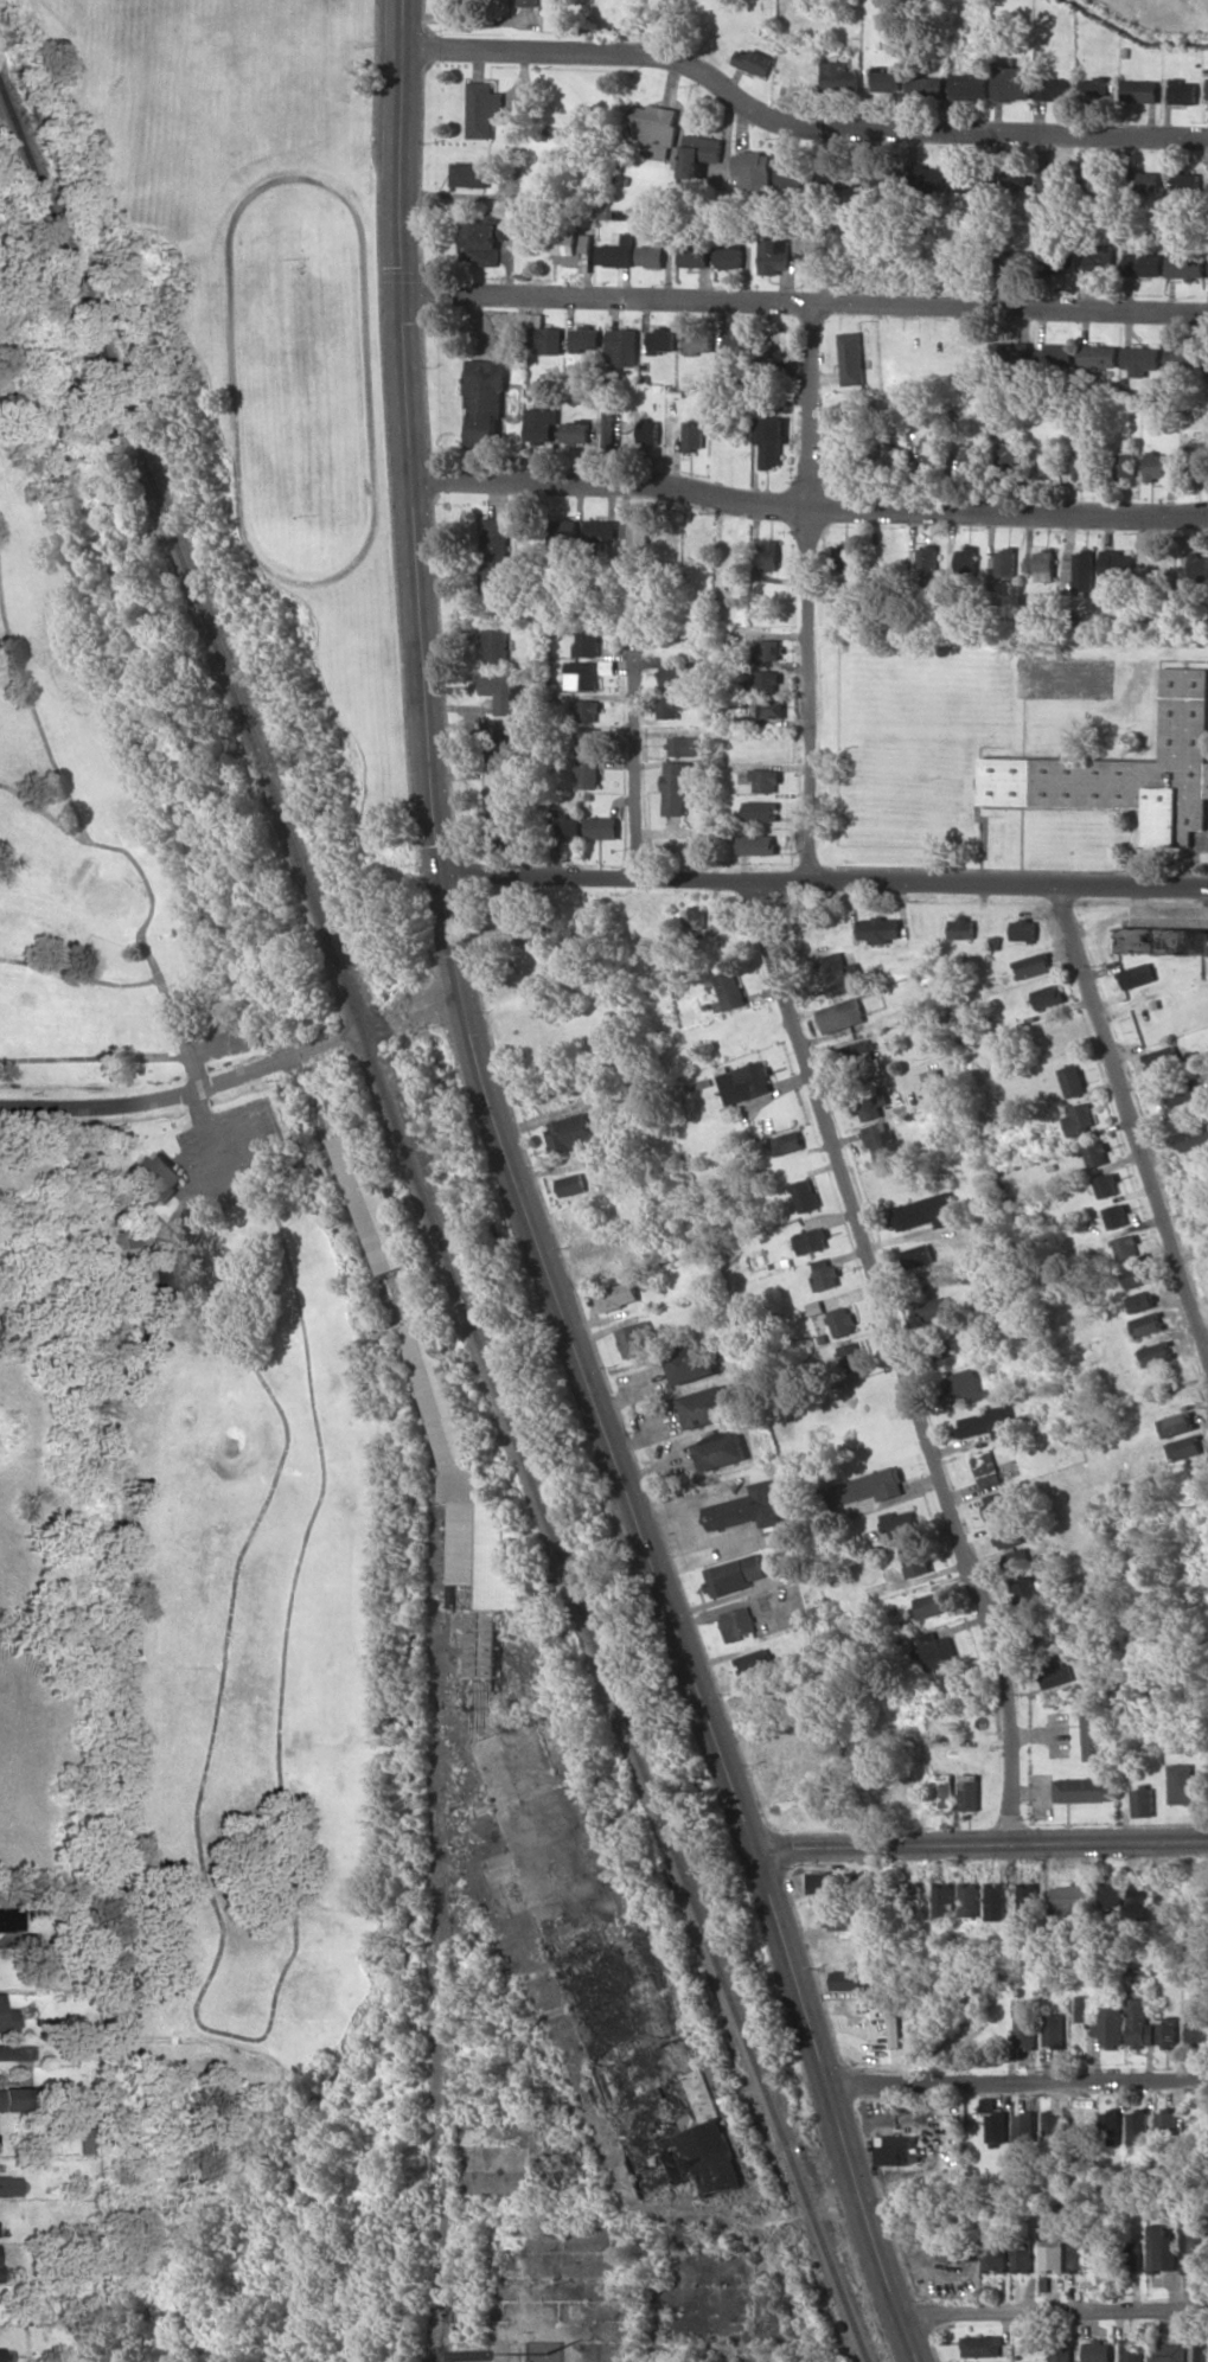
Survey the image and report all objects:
building: (529, 2)
building: (754, 60)
building: (839, 76)
building: (882, 79)
building: (1012, 82)
building: (925, 85)
building: (969, 87)
building: (1054, 88)
building: (1095, 89)
building: (1140, 90)
building: (1183, 91)
building: (1207, 97)
building: (482, 108)
road: (795, 123)
building: (654, 127)
building: (702, 153)
building: (756, 168)
building: (469, 174)
building: (795, 177)
building: (1016, 177)
building: (1092, 177)
building: (922, 179)
building: (964, 179)
building: (1182, 179)
building: (1054, 180)
building: (1145, 181)
building: (482, 236)
building: (576, 250)
building: (618, 252)
building: (696, 252)
building: (653, 255)
building: (776, 255)
building: (733, 256)
building: (811, 260)
building: (1018, 260)
building: (1059, 261)
building: (1095, 261)
building: (1143, 264)
building: (1185, 265)
road: (804, 305)
building: (545, 337)
building: (587, 339)
building: (773, 339)
building: (663, 340)
building: (701, 341)
building: (740, 344)
building: (625, 347)
building: (1018, 353)
building: (1056, 356)
building: (1098, 356)
building: (852, 358)
building: (1140, 359)
building: (1183, 360)
building: (487, 398)
building: (543, 425)
building: (612, 428)
building: (579, 430)
building: (651, 431)
building: (696, 436)
road: (409, 437)
building: (773, 441)
building: (932, 452)
building: (890, 454)
building: (1008, 454)
building: (1196, 456)
building: (970, 459)
building: (1085, 462)
building: (1127, 463)
building: (1048, 465)
building: (1156, 465)
road: (808, 512)
building: (565, 530)
building: (603, 532)
building: (637, 532)
railway: (177, 550)
building: (769, 555)
building: (498, 556)
building: (845, 557)
building: (1008, 562)
building: (1046, 563)
building: (967, 565)
building: (928, 567)
building: (1200, 567)
building: (1118, 568)
building: (1085, 570)
road: (808, 591)
building: (588, 641)
building: (498, 647)
building: (772, 648)
building: (582, 674)
building: (678, 674)
building: (767, 680)
building: (505, 691)
building: (669, 708)
building: (768, 708)
building: (587, 710)
building: (503, 741)
building: (587, 741)
building: (684, 745)
road: (638, 756)
building: (1126, 770)
building: (588, 773)
building: (766, 780)
building: (497, 786)
building: (676, 787)
building: (761, 811)
building: (569, 825)
building: (602, 827)
building: (506, 830)
building: (758, 844)
road: (822, 879)
building: (695, 917)
building: (963, 928)
building: (880, 929)
building: (1024, 929)
building: (1164, 940)
building: (1035, 965)
building: (841, 973)
building: (1138, 975)
building: (730, 991)
building: (1048, 996)
building: (845, 1018)
building: (858, 1051)
building: (1164, 1057)
building: (1074, 1080)
building: (746, 1082)
building: (1183, 1088)
road: (151, 1095)
building: (864, 1106)
building: (1080, 1118)
road: (1136, 1118)
building: (569, 1133)
building: (883, 1140)
building: (790, 1141)
building: (1098, 1153)
building: (154, 1178)
building: (570, 1184)
building: (1107, 1185)
building: (806, 1195)
building: (373, 1203)
building: (926, 1211)
building: (1117, 1215)
building: (812, 1240)
building: (1126, 1247)
building: (919, 1255)
building: (825, 1273)
building: (171, 1274)
building: (1135, 1276)
building: (618, 1295)
building: (1143, 1300)
building: (938, 1307)
building: (843, 1320)
building: (1148, 1324)
building: (637, 1338)
building: (1156, 1353)
building: (854, 1356)
road: (901, 1358)
building: (691, 1362)
building: (966, 1384)
building: (442, 1391)
building: (705, 1407)
building: (1033, 1420)
building: (989, 1422)
building: (1178, 1423)
building: (1188, 1446)
building: (720, 1449)
building: (986, 1468)
building: (871, 1486)
building: (746, 1508)
building: (997, 1508)
building: (901, 1523)
building: (1008, 1534)
building: (1016, 1558)
building: (915, 1560)
building: (731, 1575)
building: (1025, 1592)
building: (931, 1605)
road: (671, 1619)
building: (736, 1622)
building: (1037, 1630)
building: (935, 1650)
building: (753, 1660)
building: (1054, 1673)
railway: (611, 1684)
building: (951, 1684)
building: (1092, 1729)
building: (1185, 1785)
building: (1085, 1790)
building: (967, 1792)
building: (945, 1793)
road: (72, 1795)
building: (1144, 1801)
road: (978, 1845)
building: (824, 1882)
building: (905, 1891)
building: (1028, 1894)
building: (1113, 1894)
building: (1072, 1896)
building: (970, 1899)
building: (944, 1900)
building: (996, 1900)
building: (836, 1918)
building: (9, 1919)
building: (845, 1979)
building: (6, 2018)
building: (1102, 2021)
building: (1024, 2024)
building: (1139, 2024)
building: (1197, 2027)
building: (1054, 2030)
building: (893, 2031)
building: (1168, 2031)
road: (1016, 2089)
building: (15, 2099)
building: (995, 2121)
building: (1169, 2123)
building: (1025, 2126)
building: (1140, 2126)
building: (1111, 2127)
building: (1054, 2129)
building: (82, 2139)
building: (897, 2150)
road: (436, 2151)
building: (8, 2185)
building: (953, 2247)
building: (1164, 2247)
building: (1194, 2249)
building: (1022, 2251)
building: (1053, 2254)
building: (1081, 2254)
building: (996, 2255)
building: (1129, 2255)
road: (1054, 2313)
building: (982, 2345)
building: (1133, 2350)
building: (1098, 2351)
building: (1061, 2353)
building: (1167, 2353)
building: (0, 2354)

